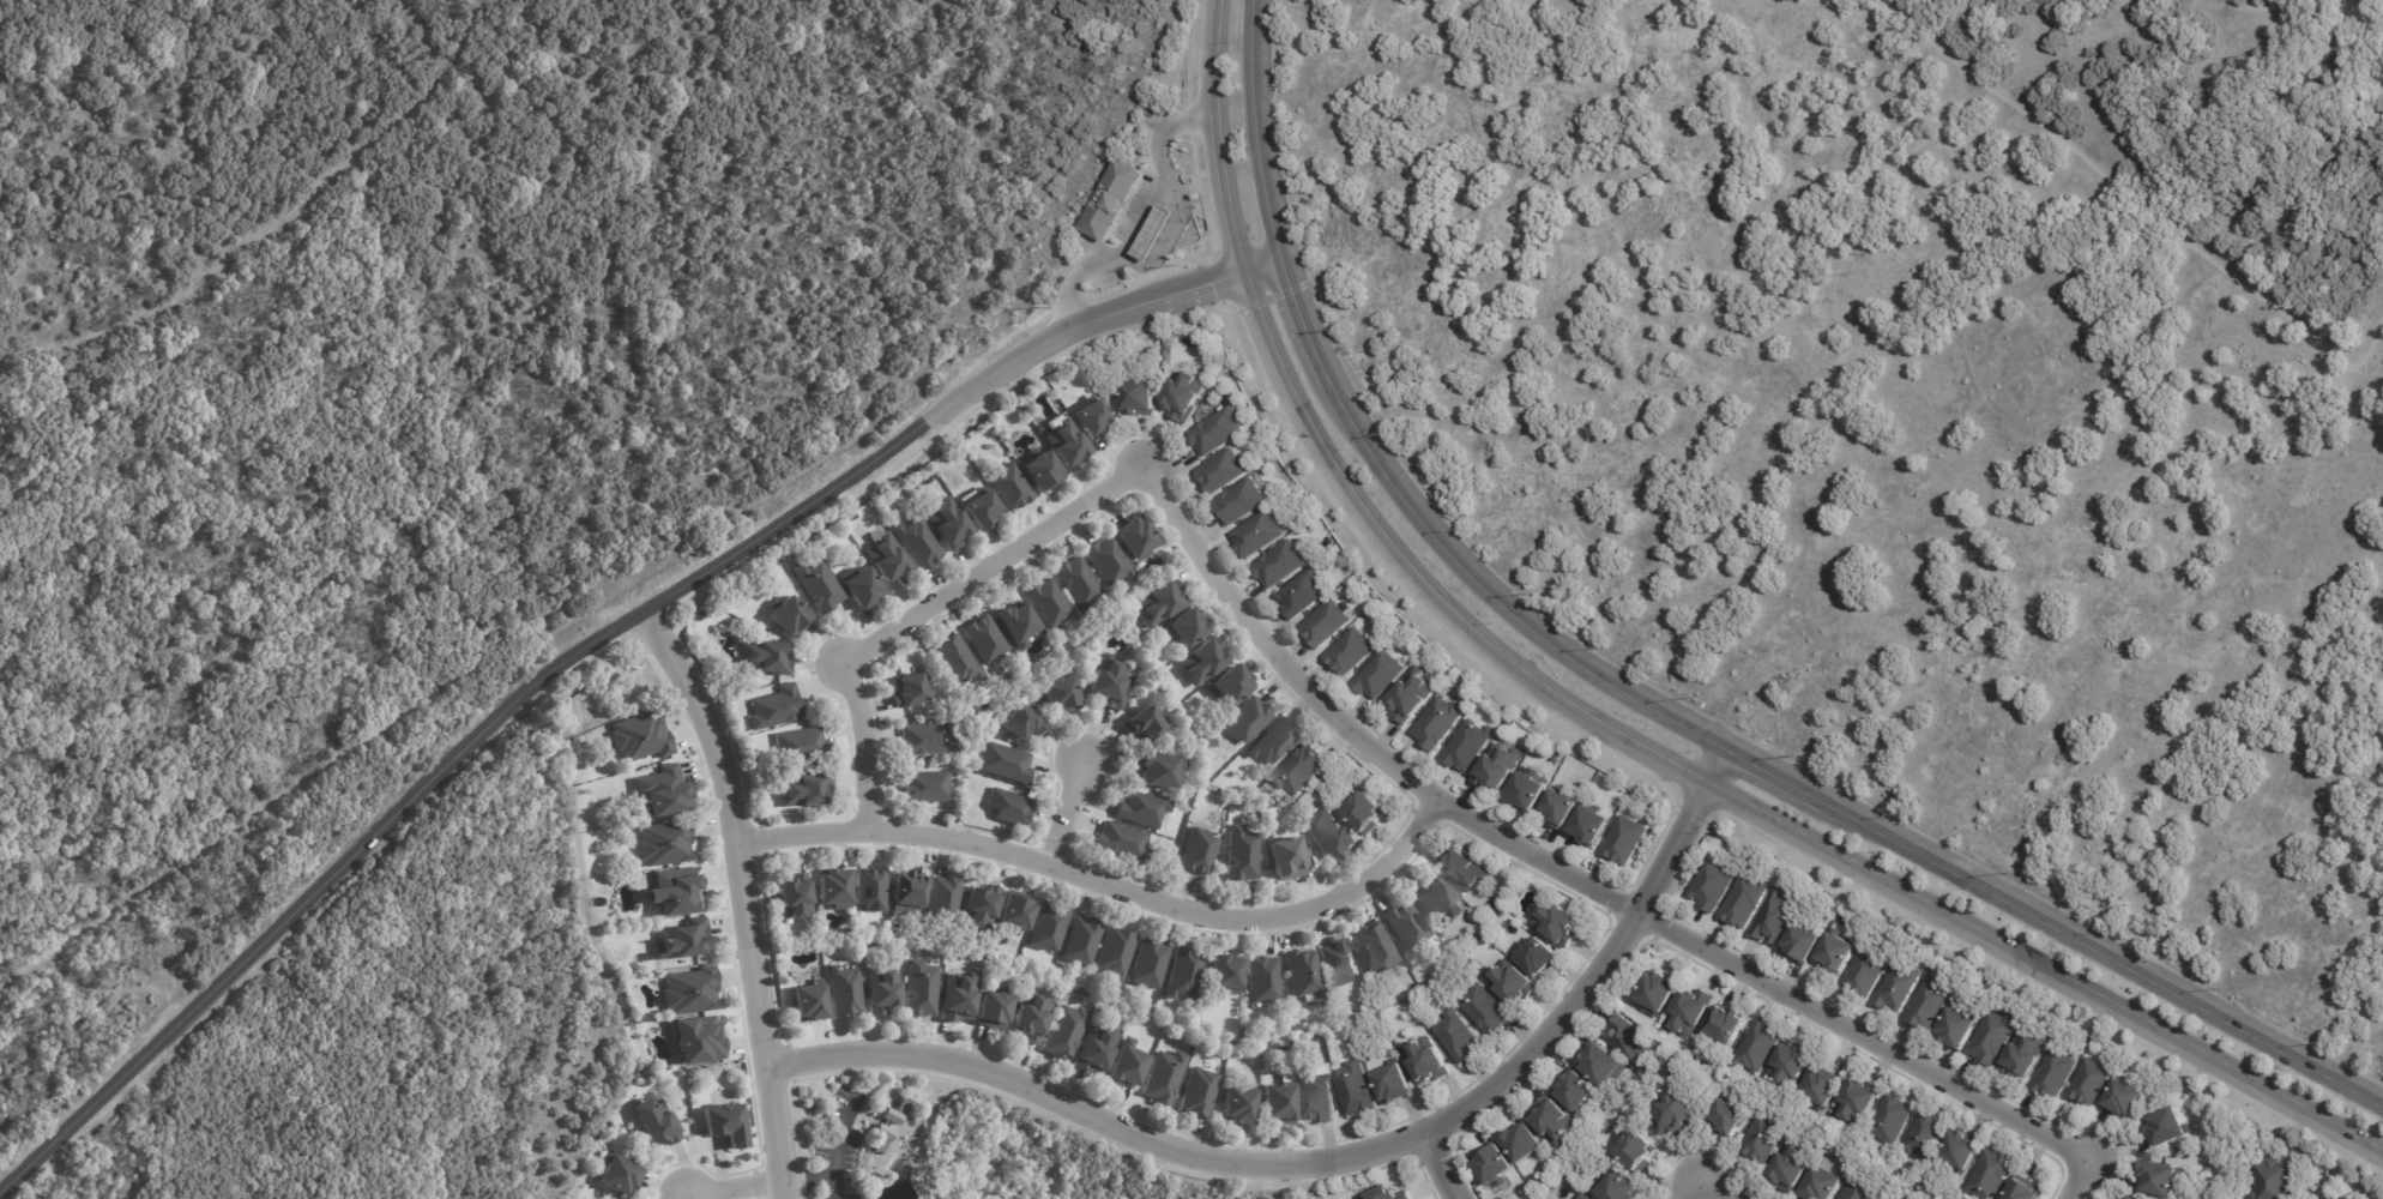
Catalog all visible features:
building: (2327, 64)
building: (1111, 199)
road: (2142, 204)
road: (1147, 213)
building: (1156, 231)
building: (1214, 372)
building: (1183, 396)
building: (1140, 397)
building: (1090, 418)
building: (1038, 429)
building: (1215, 430)
park: (1878, 445)
building: (1067, 446)
building: (1040, 471)
building: (1220, 472)
building: (1008, 487)
building: (1238, 501)
building: (978, 511)
building: (947, 523)
building: (1255, 534)
building: (1134, 538)
building: (918, 543)
road: (1741, 555)
building: (1105, 561)
building: (888, 562)
building: (1279, 564)
building: (1076, 583)
building: (859, 585)
building: (816, 586)
building: (1301, 594)
building: (1048, 602)
building: (1157, 602)
road: (918, 613)
building: (789, 615)
building: (1323, 622)
building: (1015, 625)
building: (1183, 629)
building: (984, 639)
road: (585, 645)
building: (1350, 652)
building: (765, 658)
building: (957, 661)
building: (1203, 661)
building: (1378, 675)
building: (1106, 683)
building: (1229, 685)
building: (910, 691)
building: (1058, 695)
building: (1411, 695)
road: (1640, 700)
building: (773, 709)
building: (1245, 722)
building: (1019, 723)
building: (1437, 723)
building: (1144, 725)
road: (1615, 728)
building: (640, 737)
building: (924, 740)
building: (1209, 743)
building: (800, 745)
building: (1273, 745)
building: (1468, 746)
building: (1002, 764)
building: (1497, 766)
building: (1158, 770)
building: (1301, 770)
building: (924, 787)
building: (803, 790)
building: (663, 791)
building: (1526, 791)
building: (1008, 807)
building: (1558, 808)
building: (1140, 811)
road: (1064, 812)
building: (1363, 812)
building: (1591, 824)
building: (1328, 835)
building: (1625, 840)
building: (1120, 843)
building: (663, 844)
building: (1197, 852)
building: (1239, 854)
building: (1287, 861)
building: (1461, 870)
road: (1563, 873)
building: (641, 879)
building: (1712, 882)
road: (1108, 884)
building: (832, 890)
building: (871, 890)
building: (672, 892)
building: (907, 892)
road: (743, 896)
building: (794, 898)
building: (943, 898)
building: (1744, 898)
building: (1435, 902)
building: (979, 908)
building: (1774, 915)
building: (1013, 916)
building: (1507, 920)
building: (1557, 924)
building: (1405, 927)
building: (1046, 929)
building: (1800, 940)
building: (682, 941)
building: (1080, 942)
building: (1374, 948)
building: (1838, 950)
building: (1114, 953)
building: (1538, 956)
building: (1339, 964)
building: (1147, 965)
building: (1865, 971)
building: (1183, 975)
building: (1302, 975)
building: (1224, 976)
building: (1262, 980)
building: (1510, 981)
building: (1900, 984)
building: (921, 990)
building: (1658, 990)
building: (845, 993)
building: (877, 993)
building: (689, 994)
building: (954, 999)
building: (1929, 1002)
building: (807, 1005)
building: (1485, 1008)
building: (1688, 1010)
building: (991, 1011)
building: (1030, 1018)
building: (1725, 1024)
building: (1959, 1024)
building: (1064, 1034)
building: (1995, 1035)
building: (1458, 1037)
building: (1629, 1038)
building: (695, 1042)
building: (1758, 1046)
building: (1093, 1050)
building: (2023, 1052)
building: (1425, 1060)
building: (1791, 1061)
building: (1603, 1064)
building: (1126, 1066)
building: (2053, 1072)
building: (1285, 1077)
building: (1163, 1078)
building: (2091, 1080)
building: (1394, 1085)
building: (1822, 1085)
building: (1356, 1089)
building: (1577, 1089)
building: (1196, 1095)
building: (2122, 1095)
building: (1857, 1098)
building: (1315, 1099)
building: (898, 1105)
building: (1277, 1105)
building: (1236, 1107)
building: (1673, 1109)
building: (686, 1115)
building: (1730, 1115)
building: (888, 1116)
building: (1892, 1117)
building: (1555, 1119)
building: (654, 1122)
building: (724, 1126)
building: (2168, 1127)
building: (1923, 1134)
building: (879, 1135)
building: (1764, 1135)
building: (1525, 1143)
road: (838, 1145)
building: (1635, 1147)
building: (1957, 1149)
road: (1337, 1158)
building: (1792, 1163)
road: (1441, 1165)
building: (1495, 1165)
building: (1987, 1173)
building: (615, 1174)
building: (2161, 1175)
road: (809, 1177)
road: (2075, 1177)
building: (2274, 1180)
building: (1821, 1181)
road: (1700, 1183)
building: (1615, 1186)
road: (734, 1187)
building: (1858, 1188)
building: (2021, 1189)
building: (1388, 1193)
building: (1582, 1195)
building: (1889, 1197)
building: (2135, 1197)
building: (2330, 1198)

